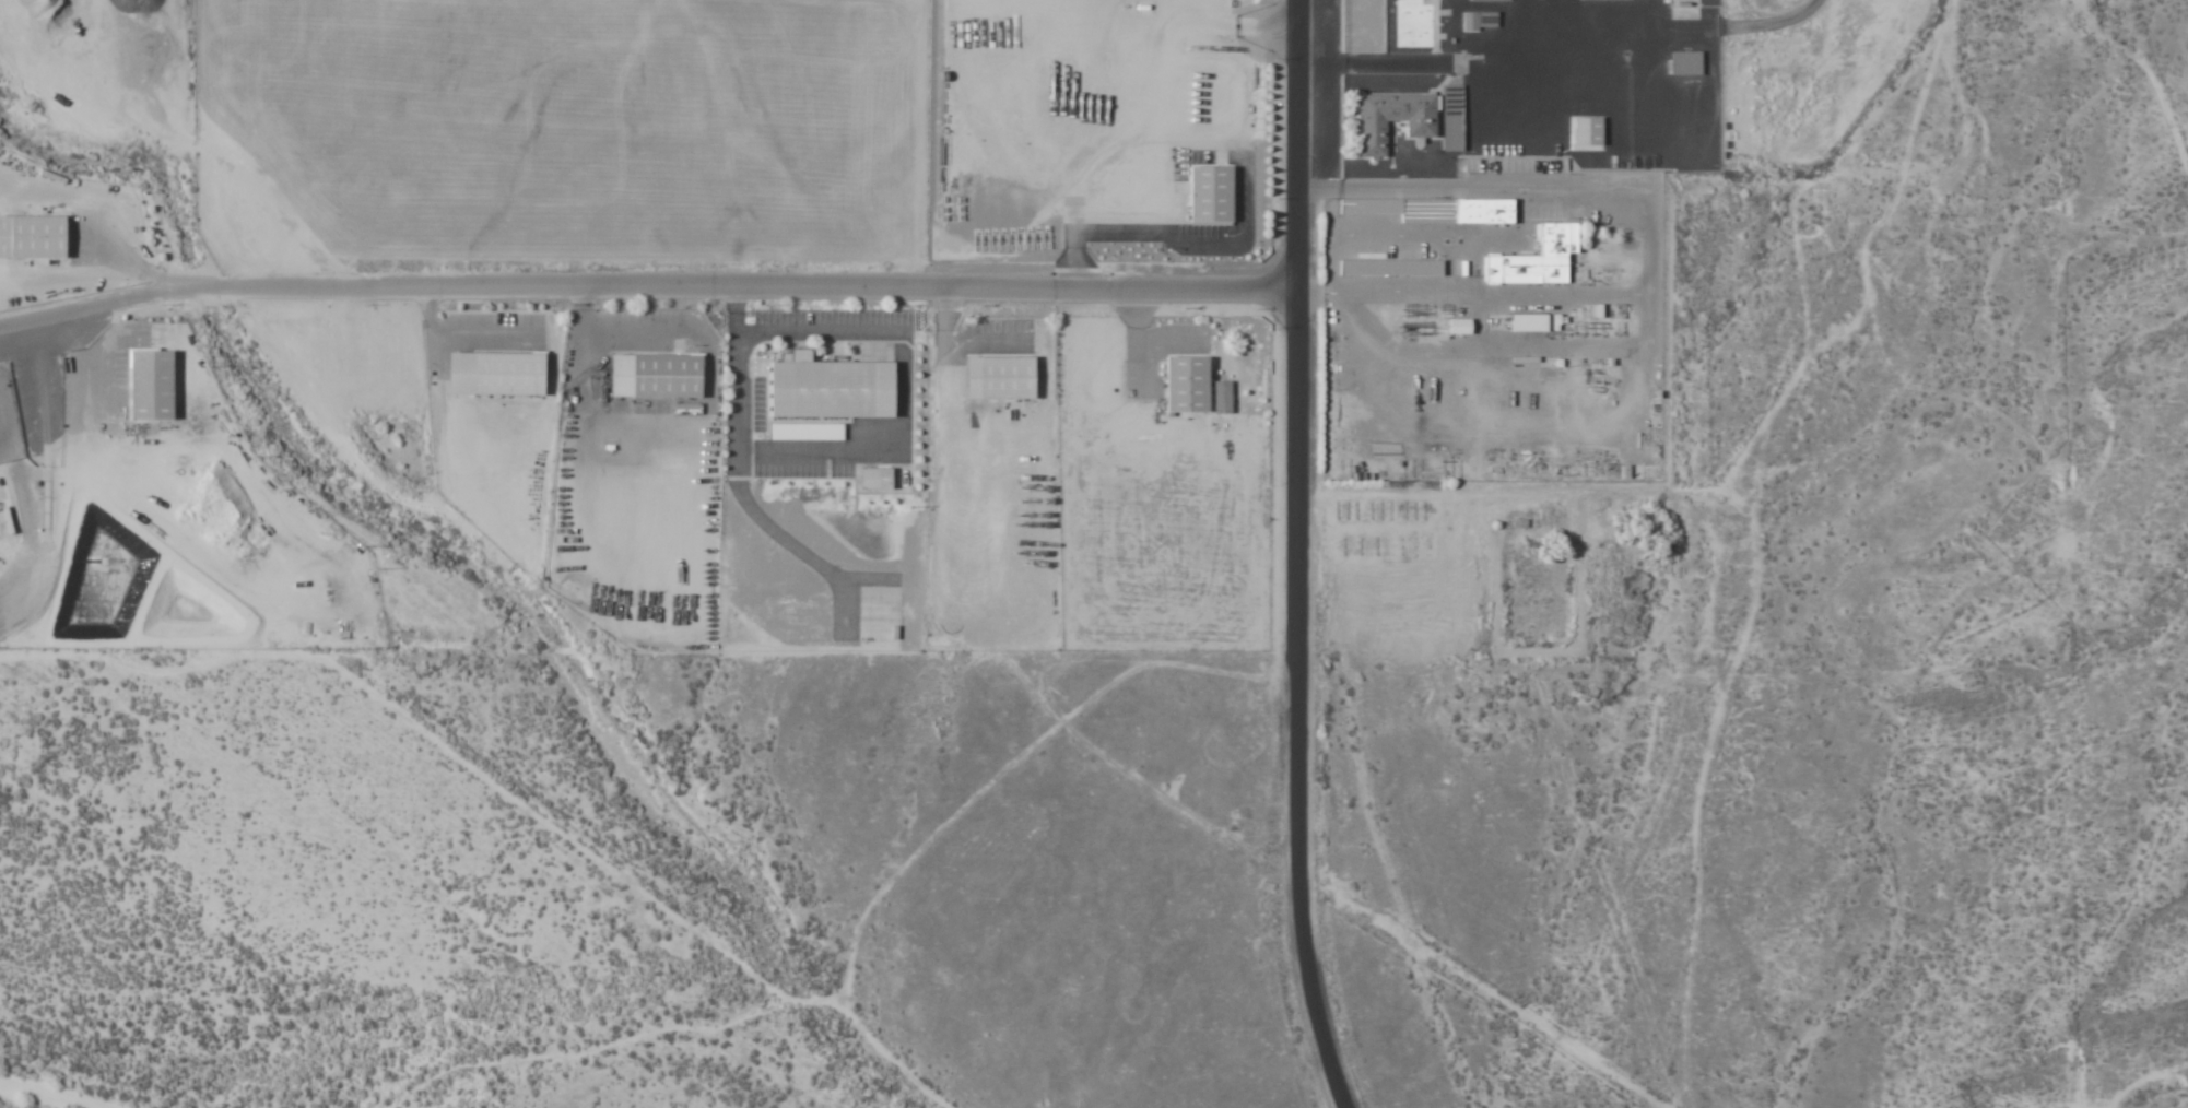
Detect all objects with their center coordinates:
building: (1478, 22)
building: (1684, 63)
road: (1537, 74)
building: (1451, 119)
building: (1390, 121)
building: (1207, 195)
building: (1434, 211)
building: (39, 238)
building: (1536, 260)
building: (1390, 270)
road: (1649, 288)
road: (647, 293)
building: (1537, 323)
building: (998, 379)
building: (1183, 386)
building: (1221, 398)
road: (1301, 556)

